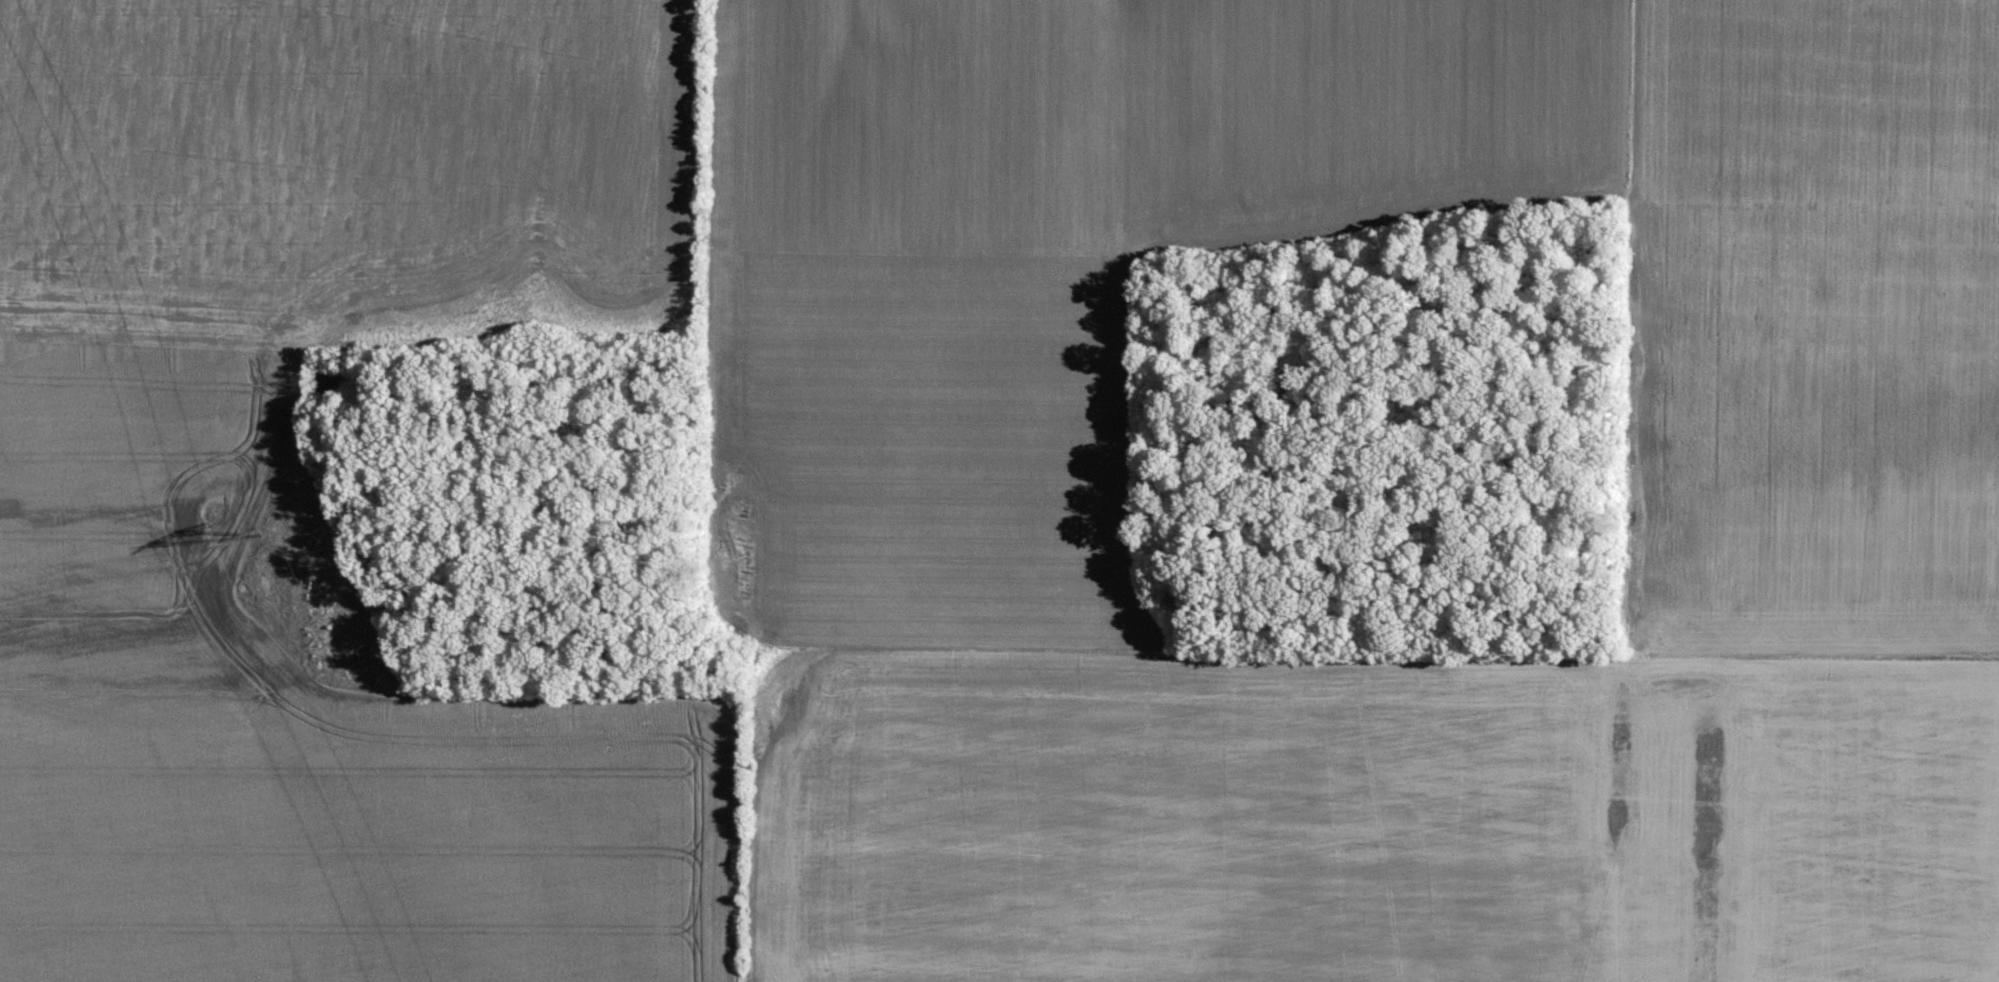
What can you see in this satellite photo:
power tower: (273, 543)

